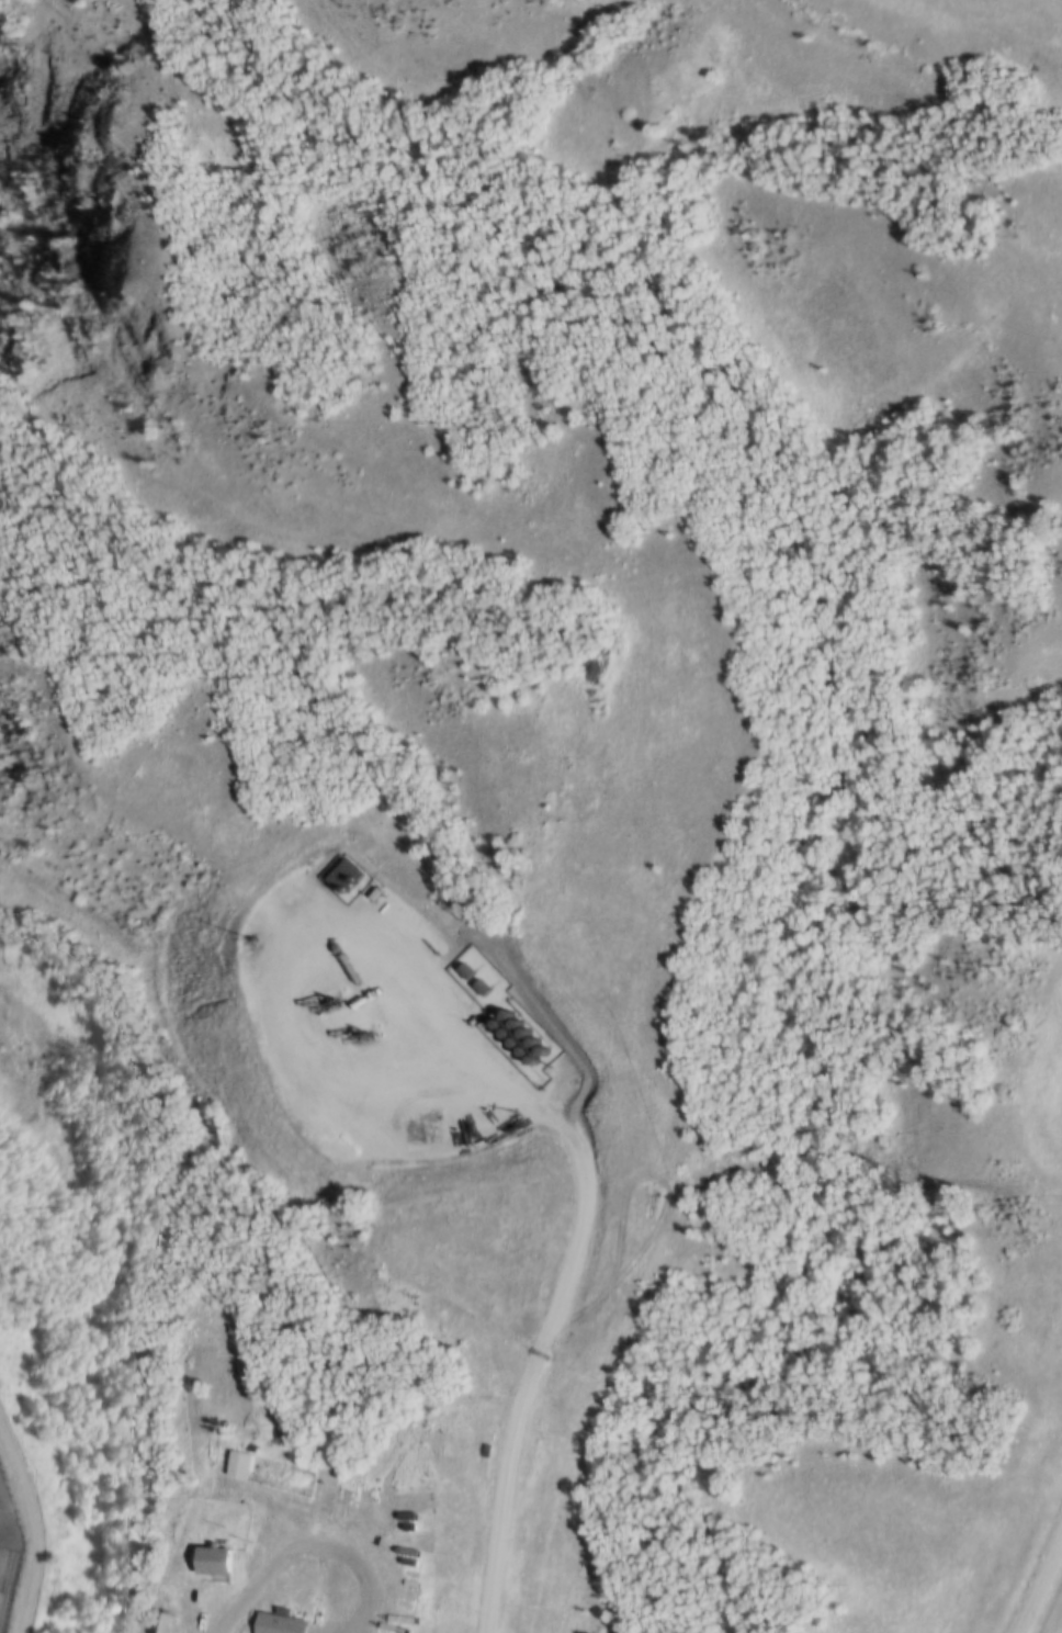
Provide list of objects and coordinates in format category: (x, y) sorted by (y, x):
building: (341, 876)
building: (460, 967)
road: (283, 970)
building: (476, 983)
petroleum well: (321, 1003)
building: (501, 1016)
storage tank: (501, 1016)
building: (494, 1024)
storage tank: (494, 1024)
building: (511, 1027)
storage tank: (511, 1027)
petroleum well: (354, 1033)
building: (501, 1034)
storage tank: (501, 1034)
building: (520, 1036)
storage tank: (520, 1036)
building: (509, 1044)
storage tank: (509, 1044)
building: (529, 1046)
storage tank: (529, 1046)
building: (518, 1052)
storage tank: (518, 1052)
building: (536, 1055)
storage tank: (536, 1055)
building: (527, 1061)
storage tank: (527, 1061)
road: (536, 1345)
building: (208, 1559)
road: (1037, 1575)
road: (263, 1588)
building: (167, 1622)
building: (275, 1622)

